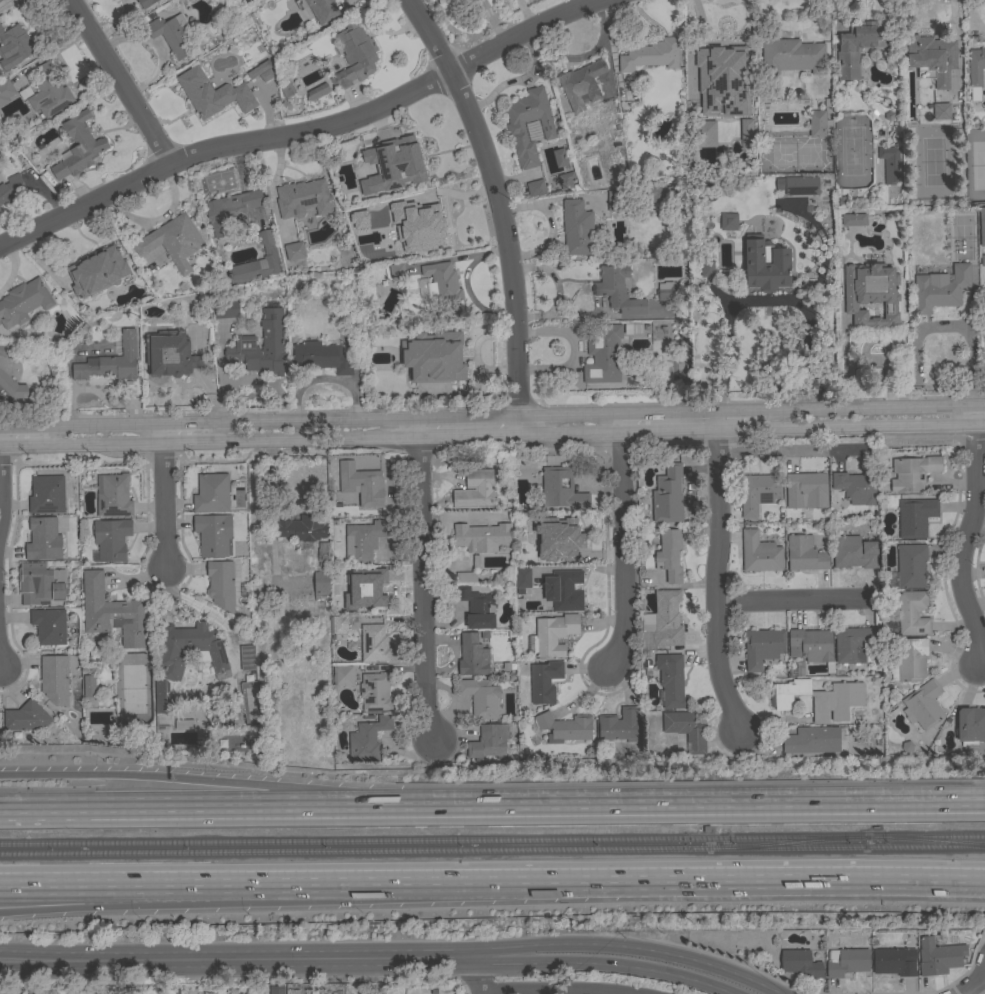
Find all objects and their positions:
building: (0, 0)
building: (146, 3)
building: (321, 10)
building: (171, 35)
building: (14, 46)
building: (858, 47)
building: (650, 55)
building: (354, 56)
building: (790, 58)
building: (725, 59)
building: (932, 59)
building: (976, 67)
building: (261, 71)
road: (119, 83)
building: (581, 84)
building: (286, 90)
building: (5, 91)
building: (49, 92)
building: (317, 92)
building: (212, 94)
building: (940, 113)
building: (820, 121)
building: (515, 130)
road: (305, 132)
building: (706, 135)
building: (746, 135)
building: (78, 147)
building: (411, 153)
building: (558, 158)
building: (889, 164)
building: (565, 180)
building: (801, 186)
building: (535, 188)
building: (12, 189)
building: (660, 195)
building: (303, 199)
building: (615, 201)
road: (501, 207)
building: (231, 211)
building: (853, 220)
building: (359, 221)
building: (728, 222)
building: (982, 226)
building: (431, 228)
building: (577, 228)
building: (172, 241)
building: (294, 251)
building: (154, 260)
building: (257, 262)
building: (765, 265)
building: (706, 269)
building: (96, 271)
building: (397, 271)
building: (442, 282)
building: (940, 289)
building: (617, 290)
building: (665, 291)
building: (870, 293)
building: (23, 302)
building: (225, 309)
road: (942, 326)
building: (272, 344)
building: (602, 353)
building: (169, 354)
building: (433, 357)
building: (321, 358)
building: (110, 362)
building: (9, 375)
road: (980, 408)
road: (866, 410)
road: (736, 412)
road: (667, 413)
road: (414, 419)
road: (185, 425)
road: (102, 428)
road: (21, 430)
road: (492, 436)
building: (912, 473)
building: (360, 484)
building: (856, 487)
building: (561, 489)
building: (805, 490)
building: (475, 491)
building: (211, 493)
building: (758, 493)
building: (46, 495)
building: (112, 495)
building: (667, 496)
road: (165, 499)
building: (915, 517)
building: (303, 528)
building: (213, 535)
building: (482, 537)
road: (965, 538)
building: (43, 539)
building: (111, 539)
building: (363, 540)
building: (559, 540)
road: (622, 541)
building: (854, 552)
building: (760, 553)
building: (804, 554)
building: (669, 555)
building: (909, 567)
building: (321, 572)
building: (465, 577)
road: (716, 578)
building: (521, 579)
road: (421, 580)
building: (40, 583)
building: (220, 584)
building: (563, 590)
building: (372, 591)
road: (793, 601)
building: (477, 608)
building: (110, 612)
building: (911, 613)
building: (667, 619)
building: (647, 621)
building: (339, 625)
building: (49, 627)
building: (552, 635)
building: (373, 643)
building: (852, 644)
building: (811, 646)
building: (762, 648)
building: (189, 650)
building: (472, 656)
building: (247, 657)
building: (909, 660)
road: (0, 665)
building: (342, 675)
building: (54, 679)
building: (670, 680)
building: (544, 681)
building: (89, 686)
building: (374, 692)
building: (480, 697)
building: (819, 699)
building: (160, 703)
building: (923, 705)
building: (25, 717)
building: (183, 725)
building: (619, 725)
building: (970, 726)
building: (564, 727)
building: (686, 729)
building: (367, 739)
building: (815, 740)
building: (488, 742)
road: (243, 784)
road: (735, 802)
road: (243, 809)
railway: (492, 840)
railway: (936, 840)
railway: (776, 844)
railway: (492, 852)
road: (700, 879)
road: (207, 882)
road: (207, 900)
road: (629, 951)
building: (938, 956)
road: (238, 958)
building: (846, 962)
building: (894, 962)
building: (799, 963)
road: (605, 965)
road: (478, 975)
road: (973, 983)
building: (275, 989)
road: (551, 990)

